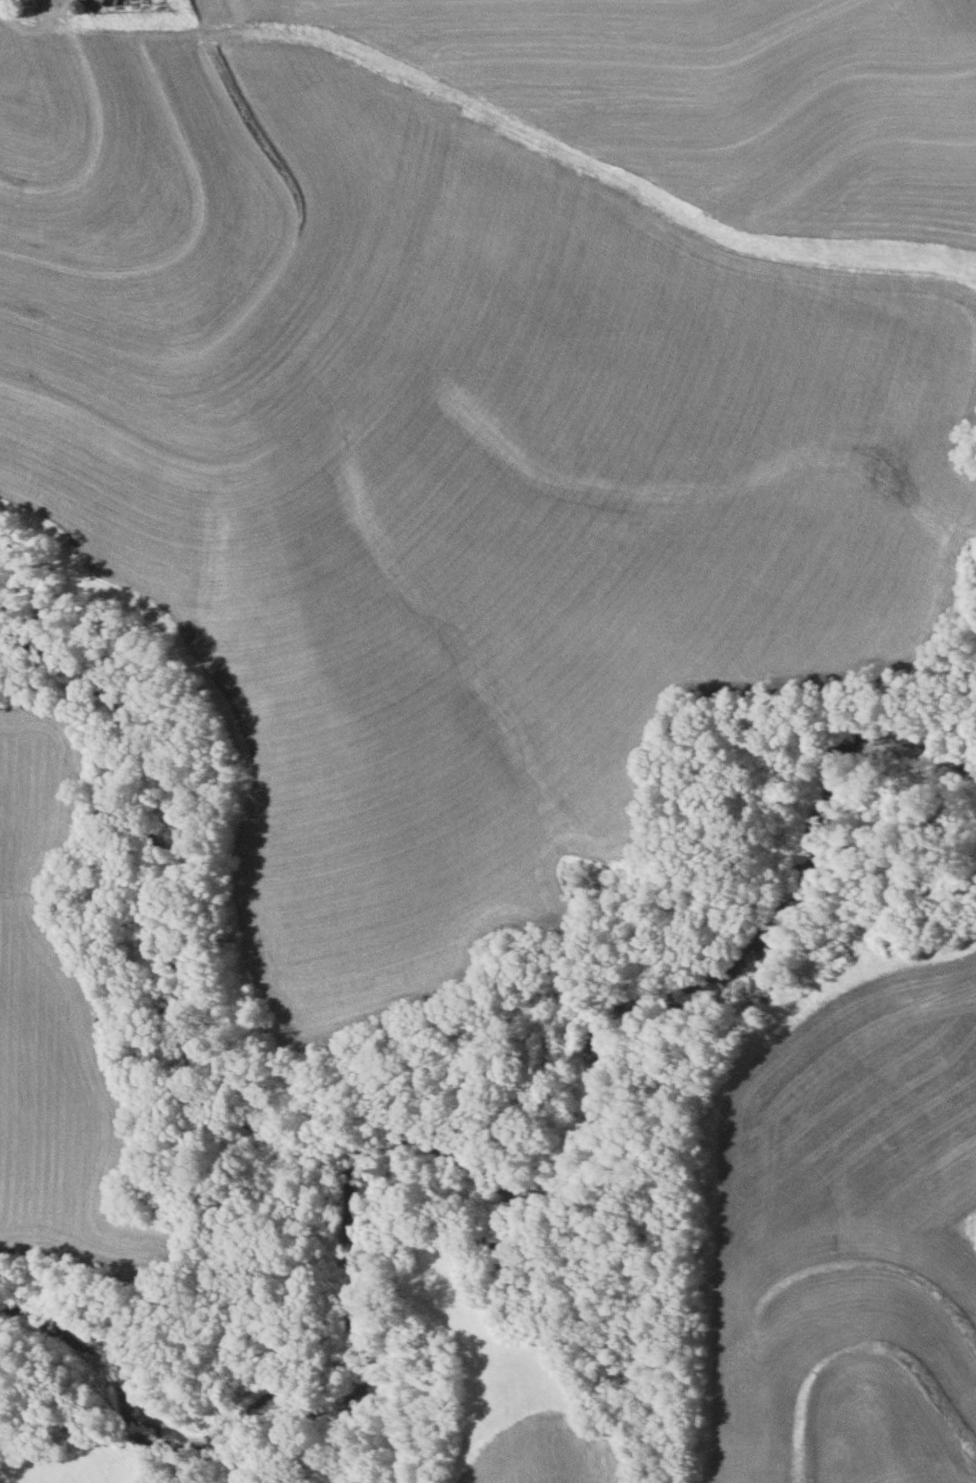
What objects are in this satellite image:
building: (77, 7)
road: (30, 28)

